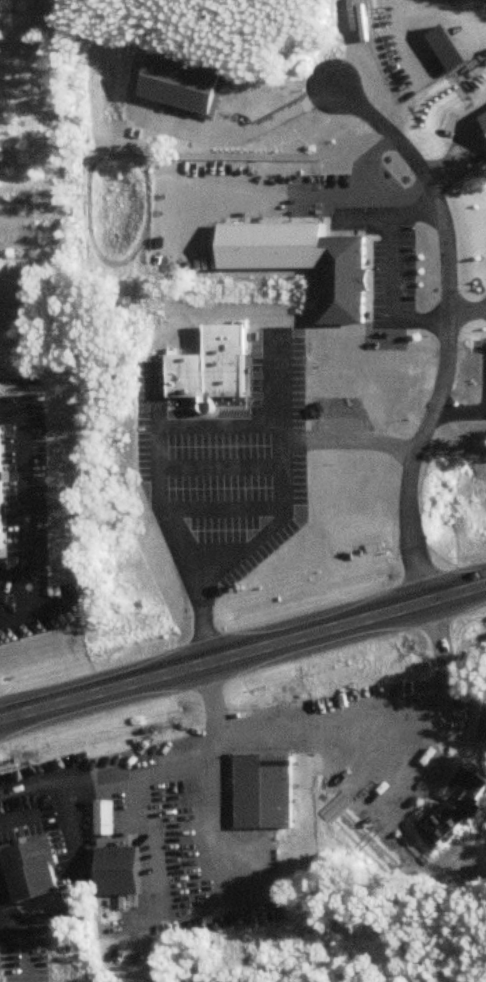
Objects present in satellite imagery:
building: (232, 10)
road: (408, 21)
road: (246, 28)
road: (288, 39)
road: (241, 40)
building: (437, 53)
road: (429, 73)
building: (171, 89)
road: (466, 102)
road: (212, 108)
road: (162, 111)
road: (128, 113)
building: (483, 113)
road: (262, 118)
road: (473, 118)
road: (471, 140)
road: (363, 162)
road: (294, 191)
road: (327, 228)
building: (269, 235)
road: (388, 266)
building: (340, 274)
road: (378, 303)
road: (466, 307)
road: (480, 308)
road: (443, 323)
building: (214, 363)
road: (252, 371)
road: (278, 374)
road: (221, 396)
road: (158, 423)
road: (329, 423)
road: (218, 455)
road: (422, 486)
building: (3, 490)
road: (25, 495)
road: (227, 498)
road: (273, 523)
road: (14, 563)
road: (17, 591)
road: (243, 653)
road: (368, 697)
road: (208, 698)
road: (475, 719)
building: (484, 731)
road: (459, 755)
road: (111, 767)
building: (468, 783)
building: (263, 786)
road: (399, 803)
road: (416, 803)
building: (103, 812)
road: (220, 816)
building: (439, 817)
building: (28, 862)
building: (118, 864)
road: (19, 943)

